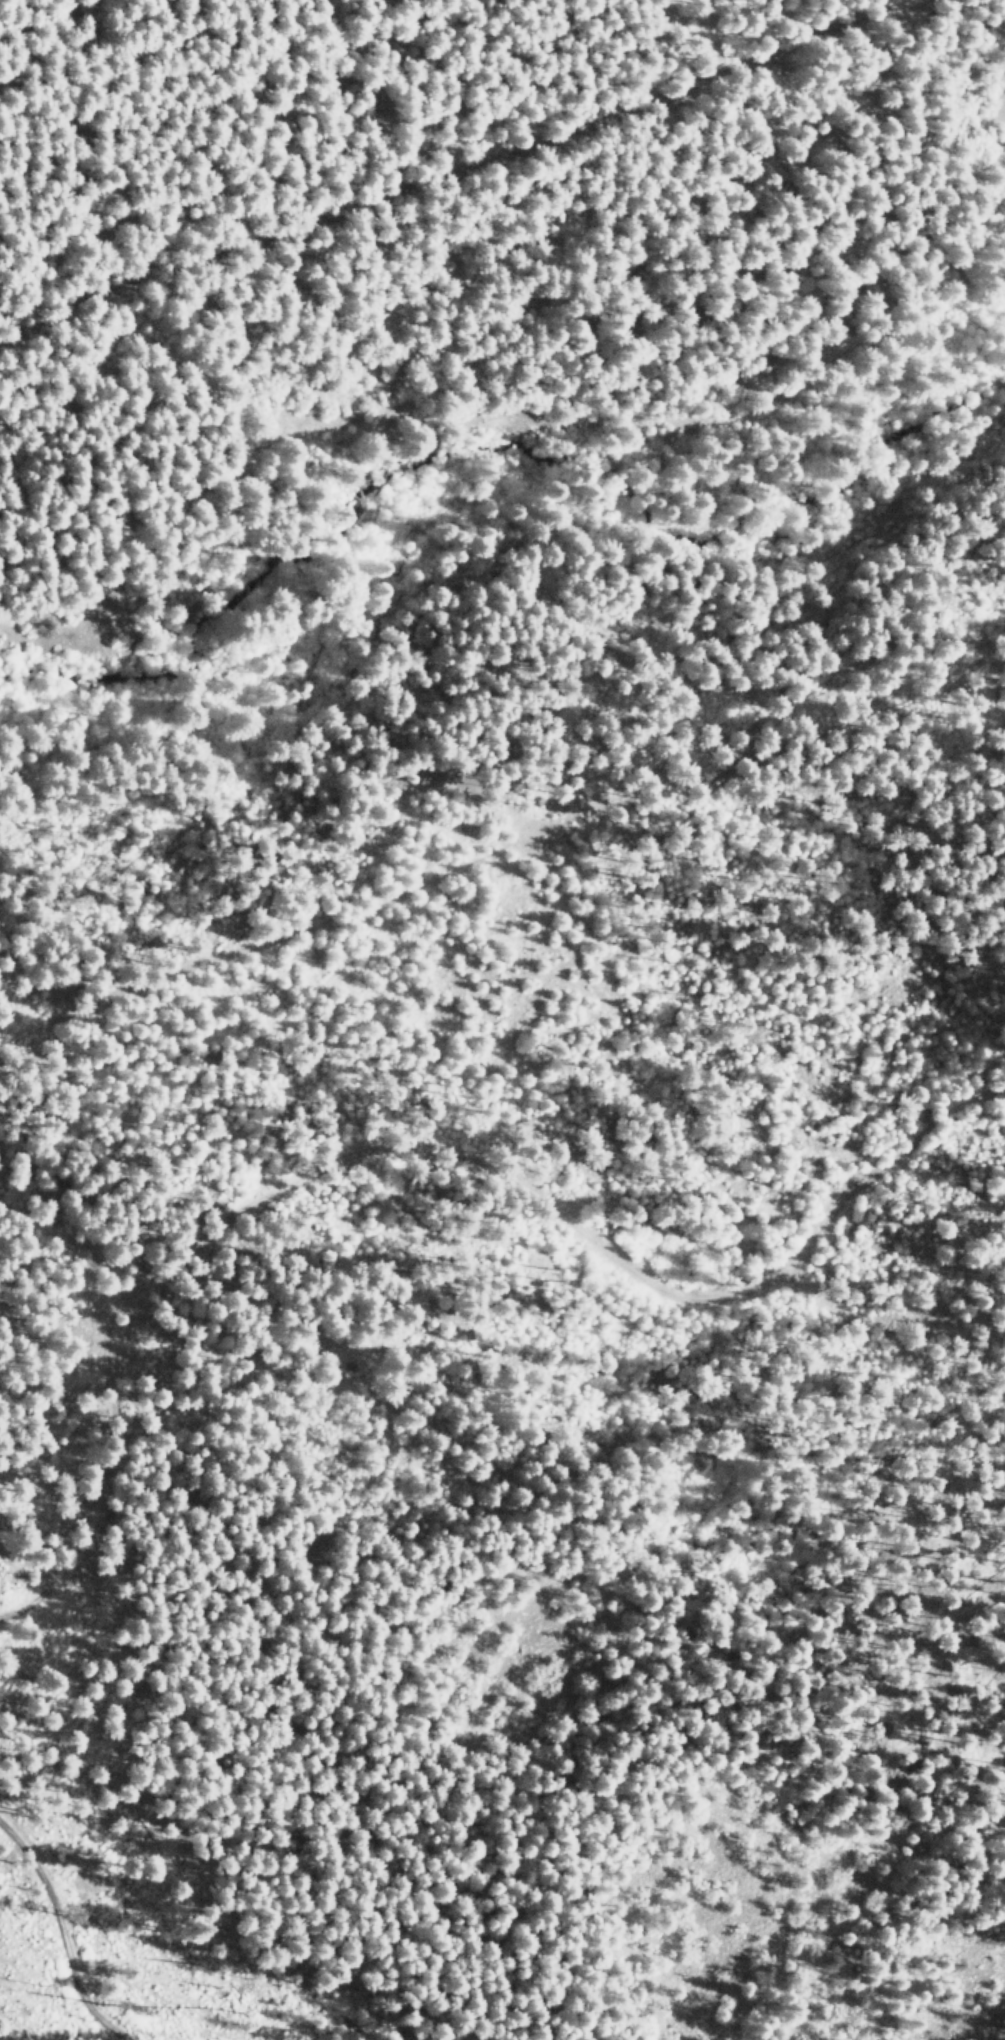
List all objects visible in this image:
road: (496, 188)
road: (505, 488)
road: (54, 1897)

